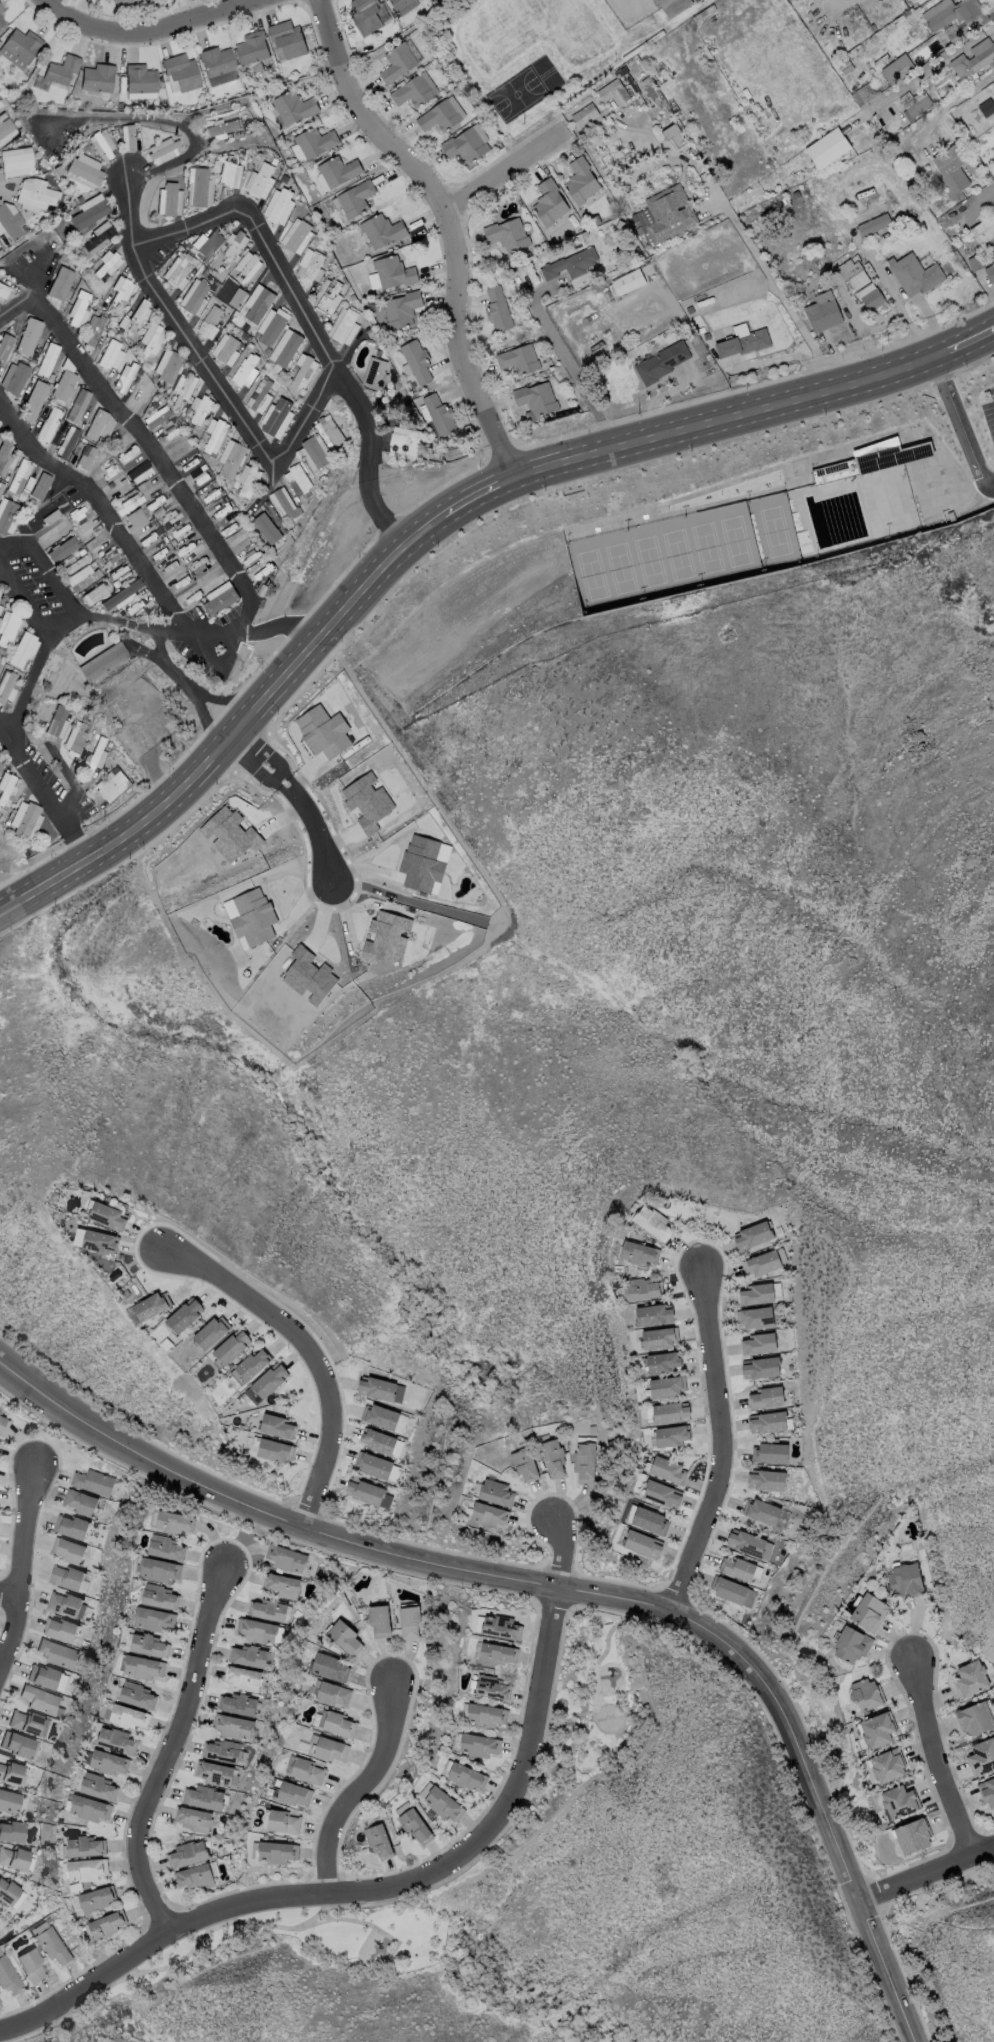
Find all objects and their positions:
building: (149, 0)
building: (122, 3)
building: (400, 4)
building: (916, 4)
building: (674, 7)
building: (1, 10)
building: (958, 14)
building: (366, 16)
building: (899, 20)
building: (1, 23)
road: (149, 26)
building: (349, 27)
building: (954, 34)
building: (289, 40)
building: (22, 45)
building: (253, 49)
building: (927, 51)
building: (439, 60)
building: (974, 61)
building: (216, 62)
building: (398, 64)
building: (258, 68)
building: (898, 70)
building: (62, 71)
building: (622, 72)
building: (182, 73)
road: (923, 73)
building: (98, 79)
building: (140, 80)
building: (633, 85)
building: (943, 85)
building: (458, 91)
building: (413, 93)
building: (614, 93)
building: (865, 94)
building: (0, 106)
building: (920, 107)
building: (294, 108)
building: (674, 108)
building: (987, 108)
building: (758, 109)
building: (586, 116)
building: (440, 118)
road: (162, 121)
building: (5, 129)
building: (223, 129)
building: (742, 129)
building: (130, 138)
building: (676, 138)
building: (696, 139)
building: (316, 143)
building: (102, 146)
building: (466, 146)
building: (829, 149)
building: (163, 151)
building: (15, 162)
building: (276, 162)
road: (507, 168)
building: (952, 171)
building: (84, 172)
building: (339, 172)
building: (227, 174)
building: (282, 176)
building: (262, 180)
building: (581, 182)
building: (859, 183)
building: (198, 189)
building: (34, 194)
building: (797, 195)
road: (980, 197)
building: (356, 199)
building: (169, 200)
building: (786, 201)
building: (325, 202)
building: (550, 203)
building: (281, 206)
building: (89, 213)
building: (670, 214)
building: (308, 218)
building: (9, 221)
road: (452, 221)
building: (875, 226)
building: (317, 228)
building: (383, 231)
building: (640, 231)
building: (984, 231)
building: (508, 235)
building: (585, 235)
building: (298, 237)
building: (94, 239)
building: (552, 241)
road: (750, 244)
building: (210, 245)
building: (187, 247)
building: (235, 247)
building: (637, 252)
building: (993, 257)
building: (881, 262)
building: (976, 264)
building: (572, 265)
building: (313, 267)
building: (247, 268)
building: (180, 270)
building: (395, 273)
building: (990, 274)
building: (853, 275)
building: (916, 276)
building: (222, 280)
building: (58, 282)
building: (629, 283)
building: (121, 289)
building: (3, 290)
building: (346, 290)
building: (591, 293)
road: (888, 293)
building: (329, 296)
building: (196, 298)
building: (237, 298)
building: (353, 298)
building: (873, 300)
building: (258, 304)
building: (372, 307)
building: (77, 310)
building: (402, 310)
building: (498, 311)
building: (824, 316)
building: (133, 318)
road: (308, 321)
building: (212, 324)
building: (346, 326)
building: (368, 329)
building: (274, 331)
building: (701, 331)
building: (242, 333)
building: (707, 337)
building: (150, 340)
road: (963, 341)
building: (744, 344)
building: (4, 345)
building: (228, 350)
building: (289, 350)
building: (379, 354)
building: (110, 355)
building: (709, 358)
building: (47, 360)
building: (520, 360)
building: (263, 362)
building: (417, 362)
building: (662, 363)
building: (166, 365)
road: (569, 365)
building: (247, 371)
building: (290, 371)
road: (209, 373)
building: (302, 373)
building: (375, 374)
building: (124, 376)
building: (12, 378)
building: (62, 385)
building: (183, 387)
building: (262, 396)
building: (537, 400)
building: (33, 401)
building: (76, 405)
parking lot: (988, 405)
building: (199, 408)
building: (440, 416)
building: (277, 417)
building: (155, 418)
building: (48, 424)
building: (95, 424)
road: (960, 424)
building: (332, 432)
building: (408, 439)
building: (66, 442)
road: (144, 446)
building: (432, 446)
building: (427, 447)
building: (315, 452)
building: (80, 455)
building: (5, 458)
building: (231, 458)
building: (874, 461)
building: (139, 472)
building: (18, 476)
building: (201, 477)
building: (247, 480)
building: (298, 480)
building: (40, 485)
building: (284, 503)
building: (128, 504)
building: (6, 514)
building: (951, 518)
building: (134, 520)
building: (266, 528)
road: (403, 532)
road: (125, 544)
road: (16, 547)
building: (61, 550)
park: (681, 552)
building: (80, 577)
road: (58, 583)
building: (0, 591)
road: (28, 593)
building: (94, 594)
building: (121, 595)
building: (220, 598)
building: (0, 607)
road: (122, 623)
building: (8, 629)
road: (142, 649)
building: (22, 650)
building: (102, 661)
road: (167, 667)
building: (6, 686)
road: (199, 698)
building: (56, 722)
building: (323, 731)
building: (75, 736)
building: (1, 757)
building: (94, 757)
road: (72, 781)
building: (112, 784)
building: (7, 789)
road: (42, 791)
road: (292, 792)
building: (367, 801)
building: (24, 818)
building: (229, 834)
building: (421, 863)
building: (252, 917)
building: (386, 938)
building: (308, 976)
building: (108, 1216)
building: (650, 1220)
building: (752, 1236)
building: (95, 1240)
building: (639, 1253)
building: (761, 1263)
building: (642, 1289)
building: (756, 1294)
building: (151, 1305)
building: (652, 1315)
building: (184, 1316)
building: (756, 1317)
building: (211, 1332)
building: (657, 1338)
building: (758, 1344)
building: (232, 1346)
road: (307, 1349)
building: (662, 1361)
building: (760, 1368)
building: (266, 1383)
building: (666, 1386)
building: (377, 1388)
building: (765, 1397)
building: (669, 1412)
building: (384, 1418)
building: (766, 1422)
building: (3, 1423)
building: (277, 1426)
building: (670, 1435)
building: (378, 1441)
road: (721, 1446)
building: (274, 1451)
building: (769, 1453)
building: (553, 1458)
building: (584, 1462)
building: (524, 1463)
building: (375, 1465)
building: (666, 1469)
building: (765, 1480)
building: (93, 1482)
building: (494, 1491)
building: (369, 1493)
building: (661, 1494)
building: (79, 1502)
building: (761, 1511)
building: (488, 1515)
building: (649, 1520)
building: (72, 1527)
building: (745, 1542)
road: (565, 1544)
building: (643, 1544)
building: (166, 1548)
road: (19, 1550)
building: (70, 1550)
building: (287, 1558)
building: (736, 1568)
building: (160, 1570)
building: (67, 1578)
building: (904, 1578)
building: (281, 1585)
building: (727, 1589)
road: (565, 1591)
road: (5, 1592)
building: (159, 1597)
building: (65, 1605)
building: (268, 1610)
building: (868, 1612)
building: (154, 1619)
building: (379, 1620)
building: (409, 1622)
building: (499, 1627)
building: (59, 1629)
building: (256, 1630)
building: (345, 1637)
building: (851, 1645)
building: (149, 1646)
building: (57, 1653)
building: (495, 1653)
building: (250, 1657)
building: (330, 1666)
building: (143, 1667)
building: (47, 1677)
building: (243, 1678)
building: (971, 1678)
building: (491, 1687)
building: (333, 1694)
building: (137, 1695)
building: (866, 1696)
building: (40, 1700)
building: (239, 1704)
building: (484, 1715)
building: (127, 1716)
building: (975, 1718)
building: (25, 1722)
building: (338, 1724)
building: (234, 1726)
building: (877, 1730)
building: (116, 1741)
road: (170, 1745)
building: (477, 1745)
building: (21, 1746)
building: (221, 1750)
building: (981, 1756)
road: (937, 1760)
building: (109, 1762)
building: (886, 1766)
building: (306, 1771)
building: (10, 1773)
building: (217, 1773)
building: (466, 1776)
road: (358, 1783)
building: (98, 1787)
building: (987, 1792)
building: (294, 1794)
building: (205, 1798)
building: (9, 1801)
building: (898, 1801)
building: (443, 1804)
building: (89, 1808)
building: (193, 1819)
building: (283, 1822)
building: (413, 1823)
building: (11, 1832)
building: (912, 1836)
building: (378, 1842)
building: (85, 1846)
building: (277, 1852)
building: (187, 1854)
road: (446, 1854)
building: (15, 1859)
building: (85, 1869)
road: (926, 1873)
building: (195, 1876)
building: (96, 1898)
building: (107, 1924)
building: (52, 1945)
building: (30, 1965)
road: (85, 1985)

